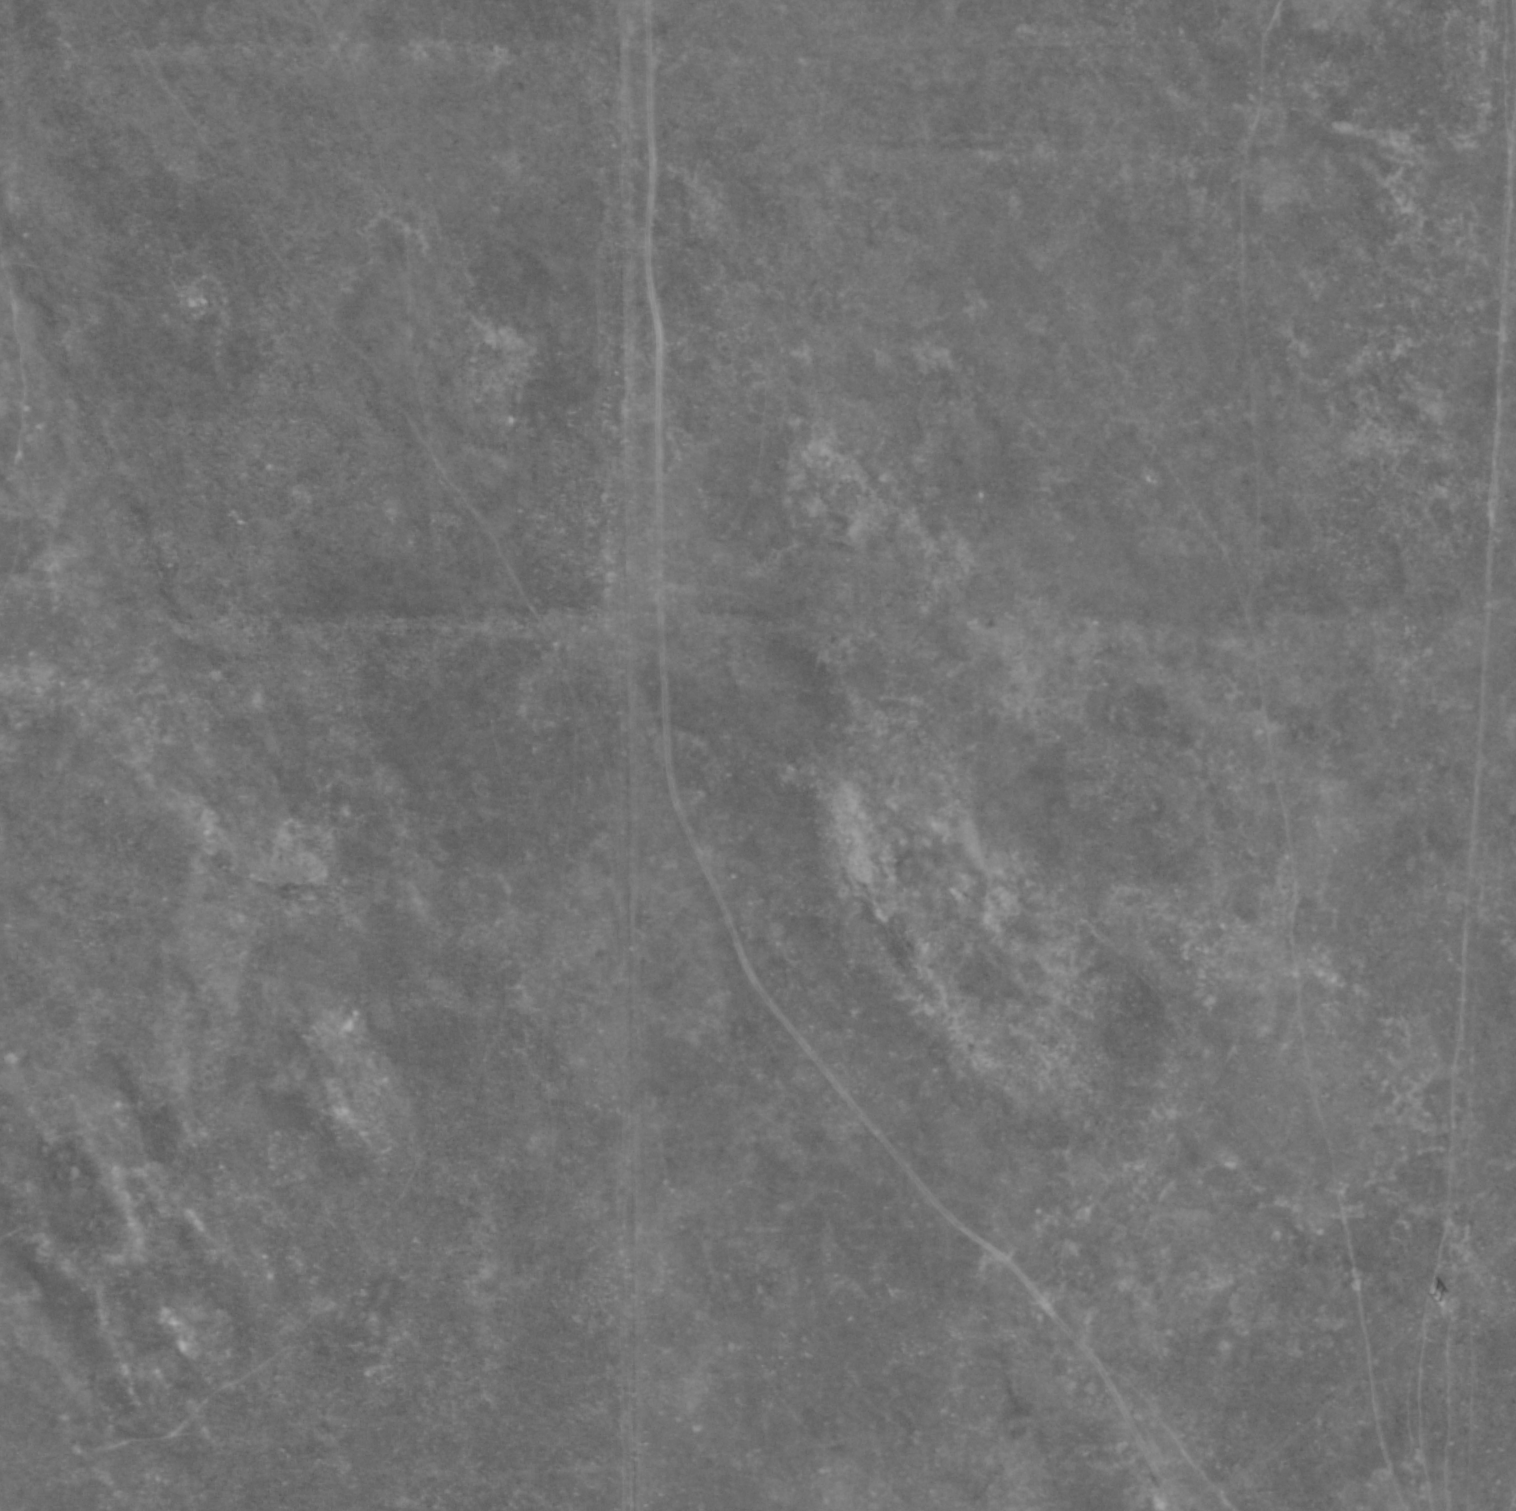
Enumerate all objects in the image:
power tower: (1433, 1296)

